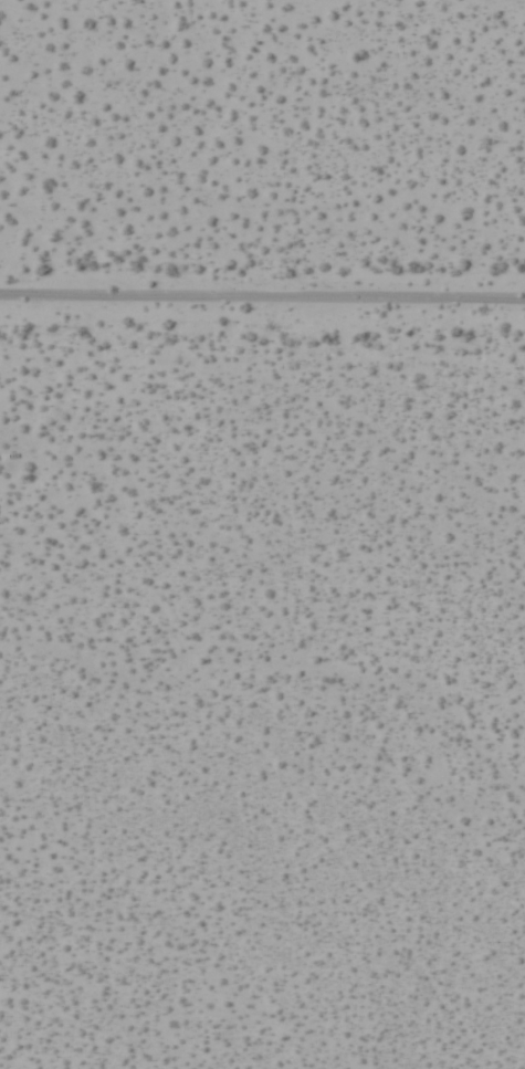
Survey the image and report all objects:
road: (262, 302)

